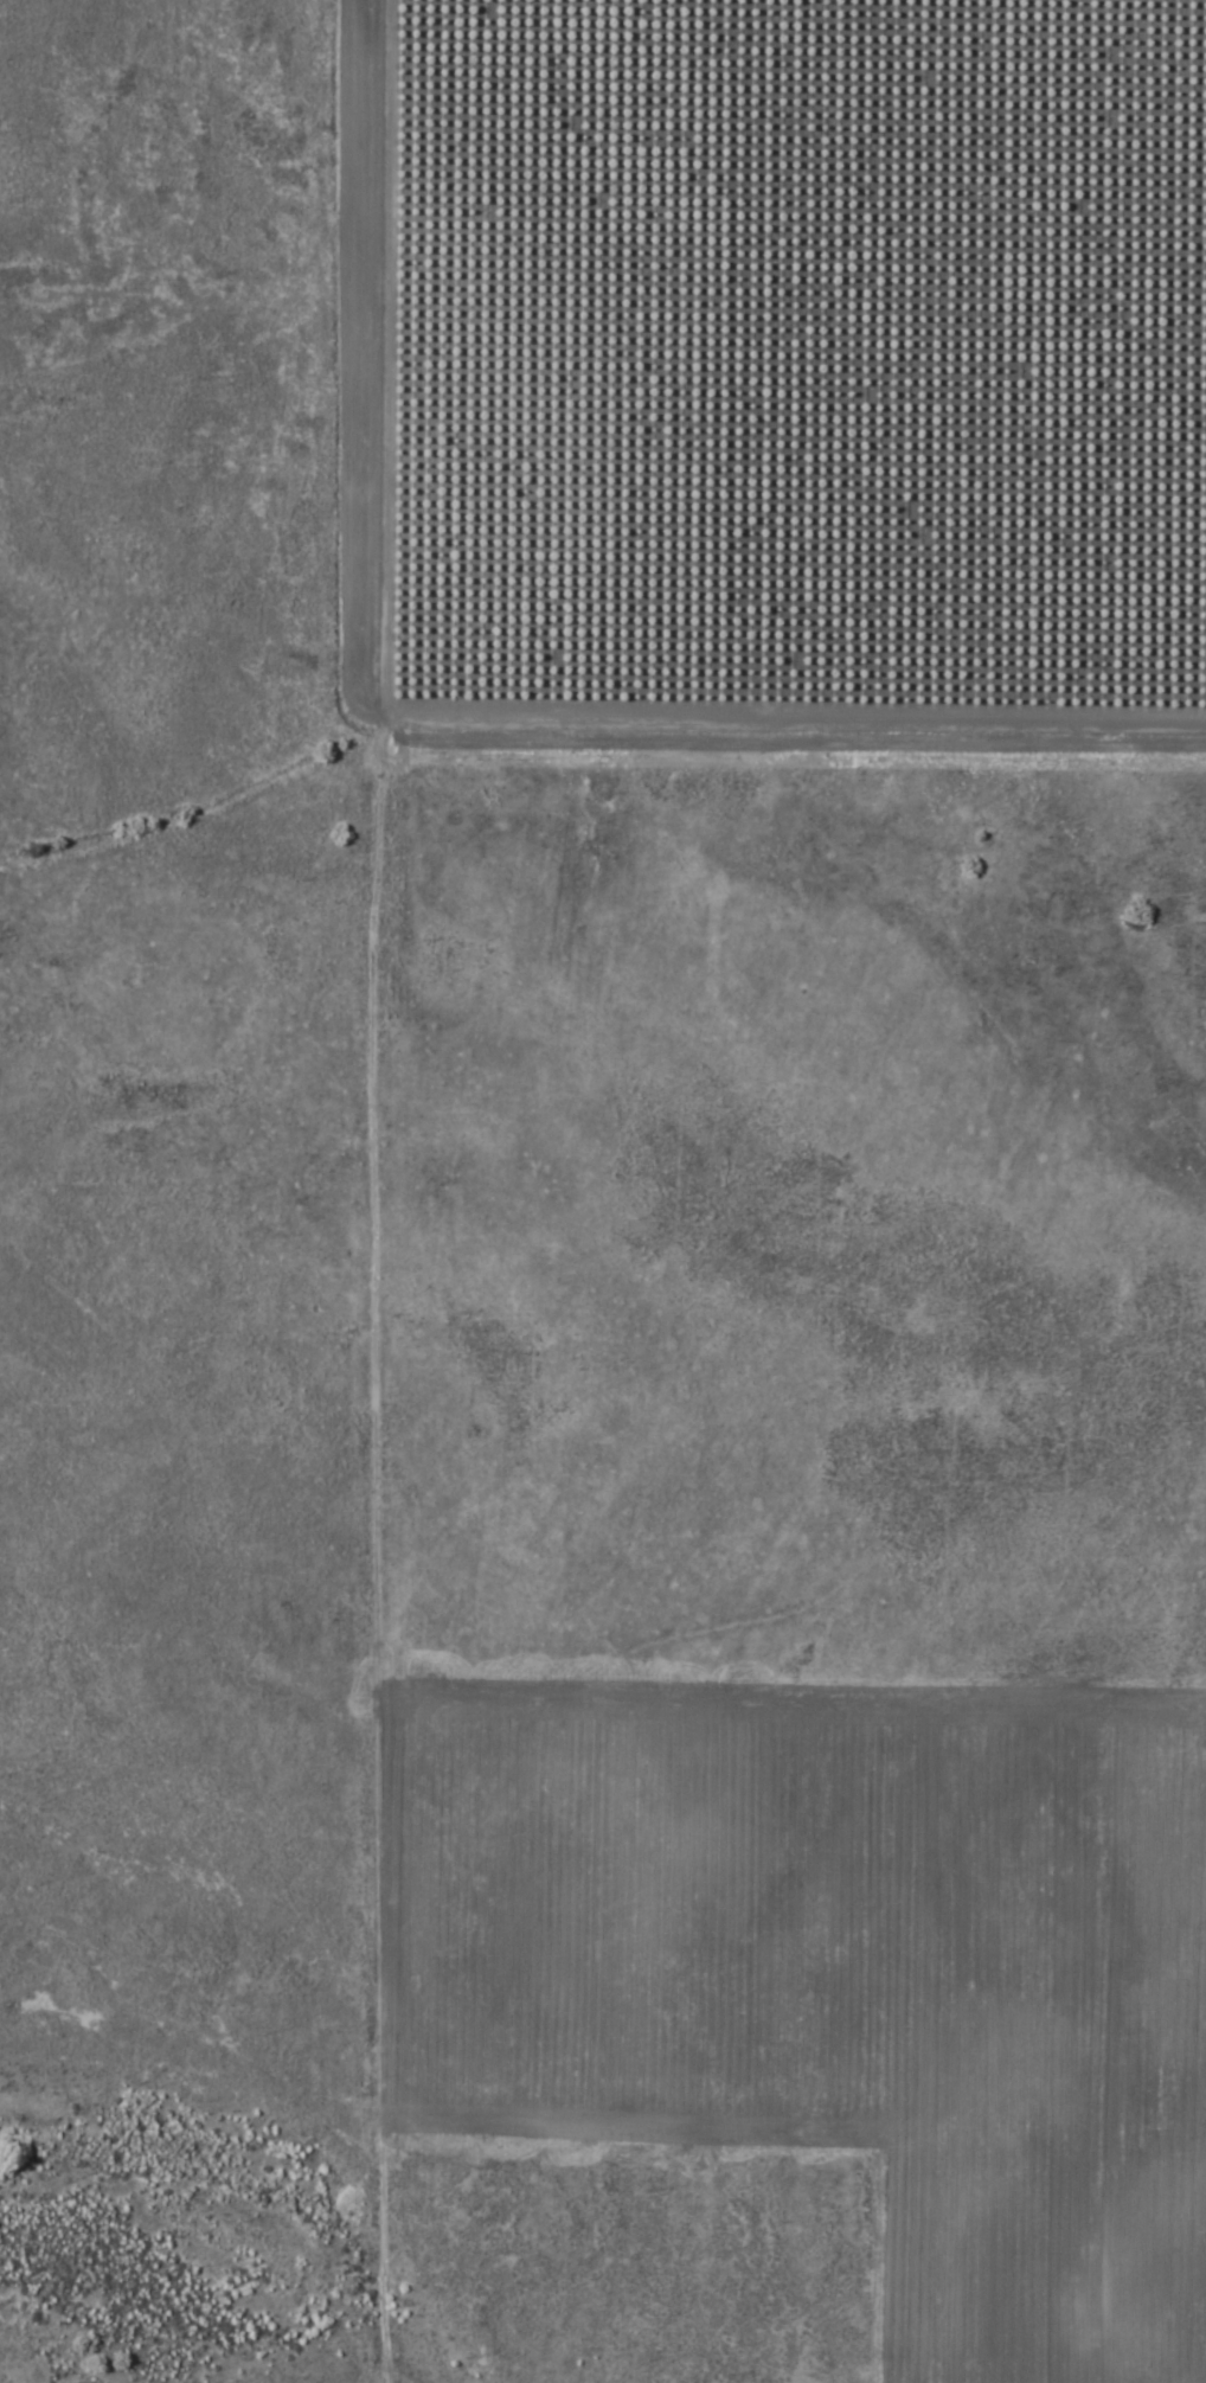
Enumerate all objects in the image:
road: (346, 335)

